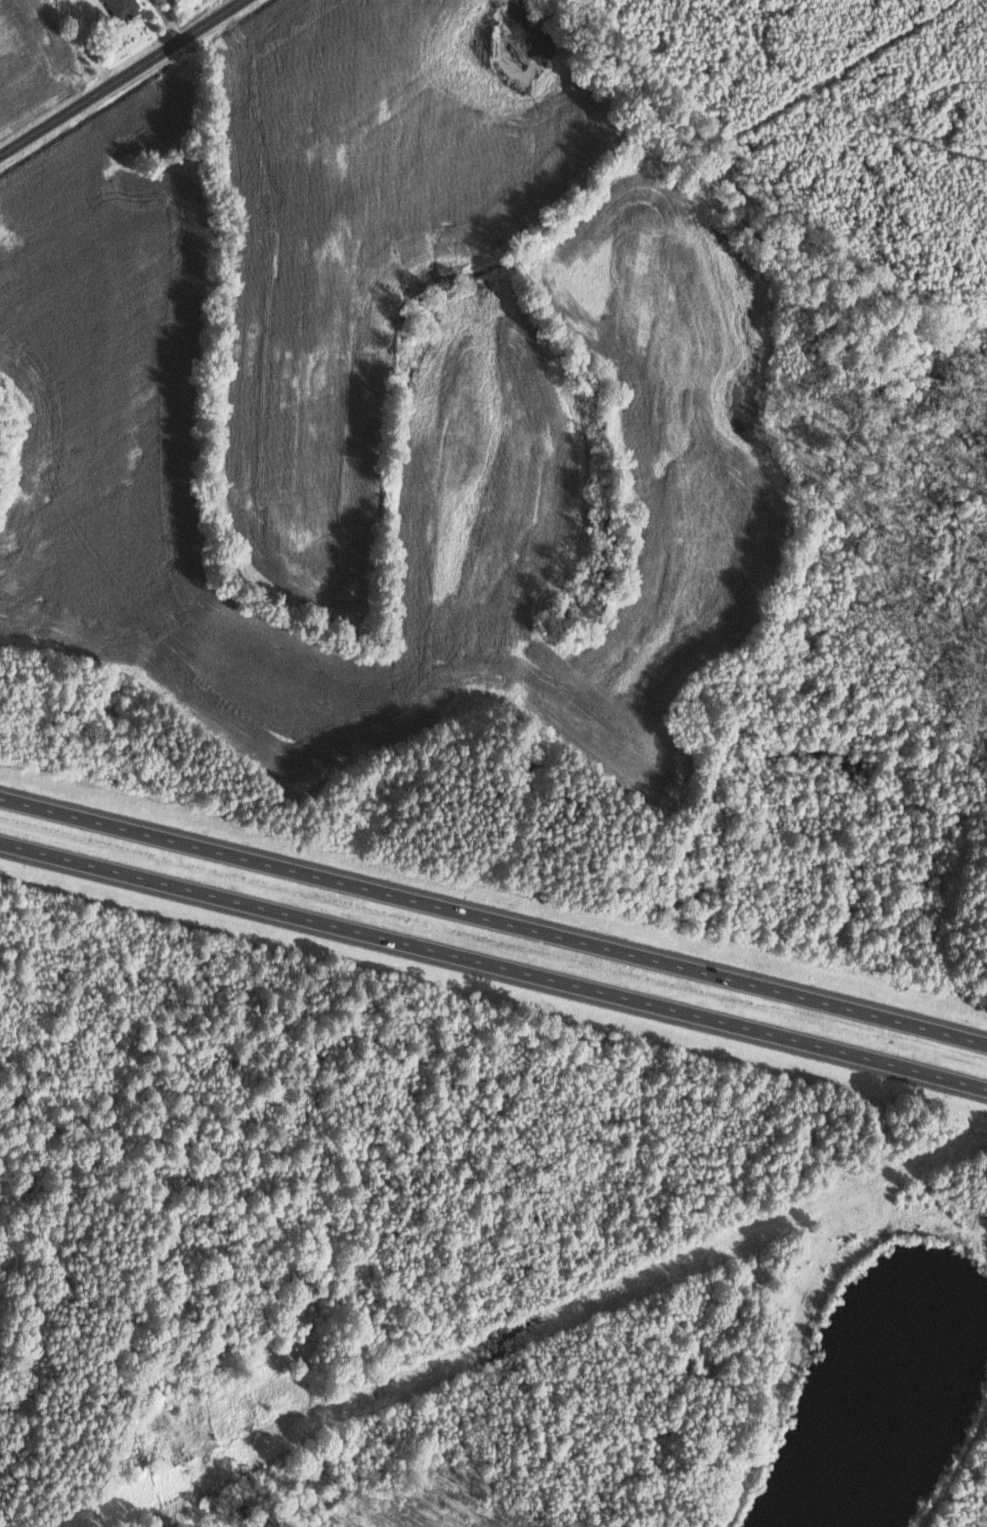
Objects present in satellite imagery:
building: (123, 7)
road: (120, 76)
road: (493, 918)
road: (493, 963)

